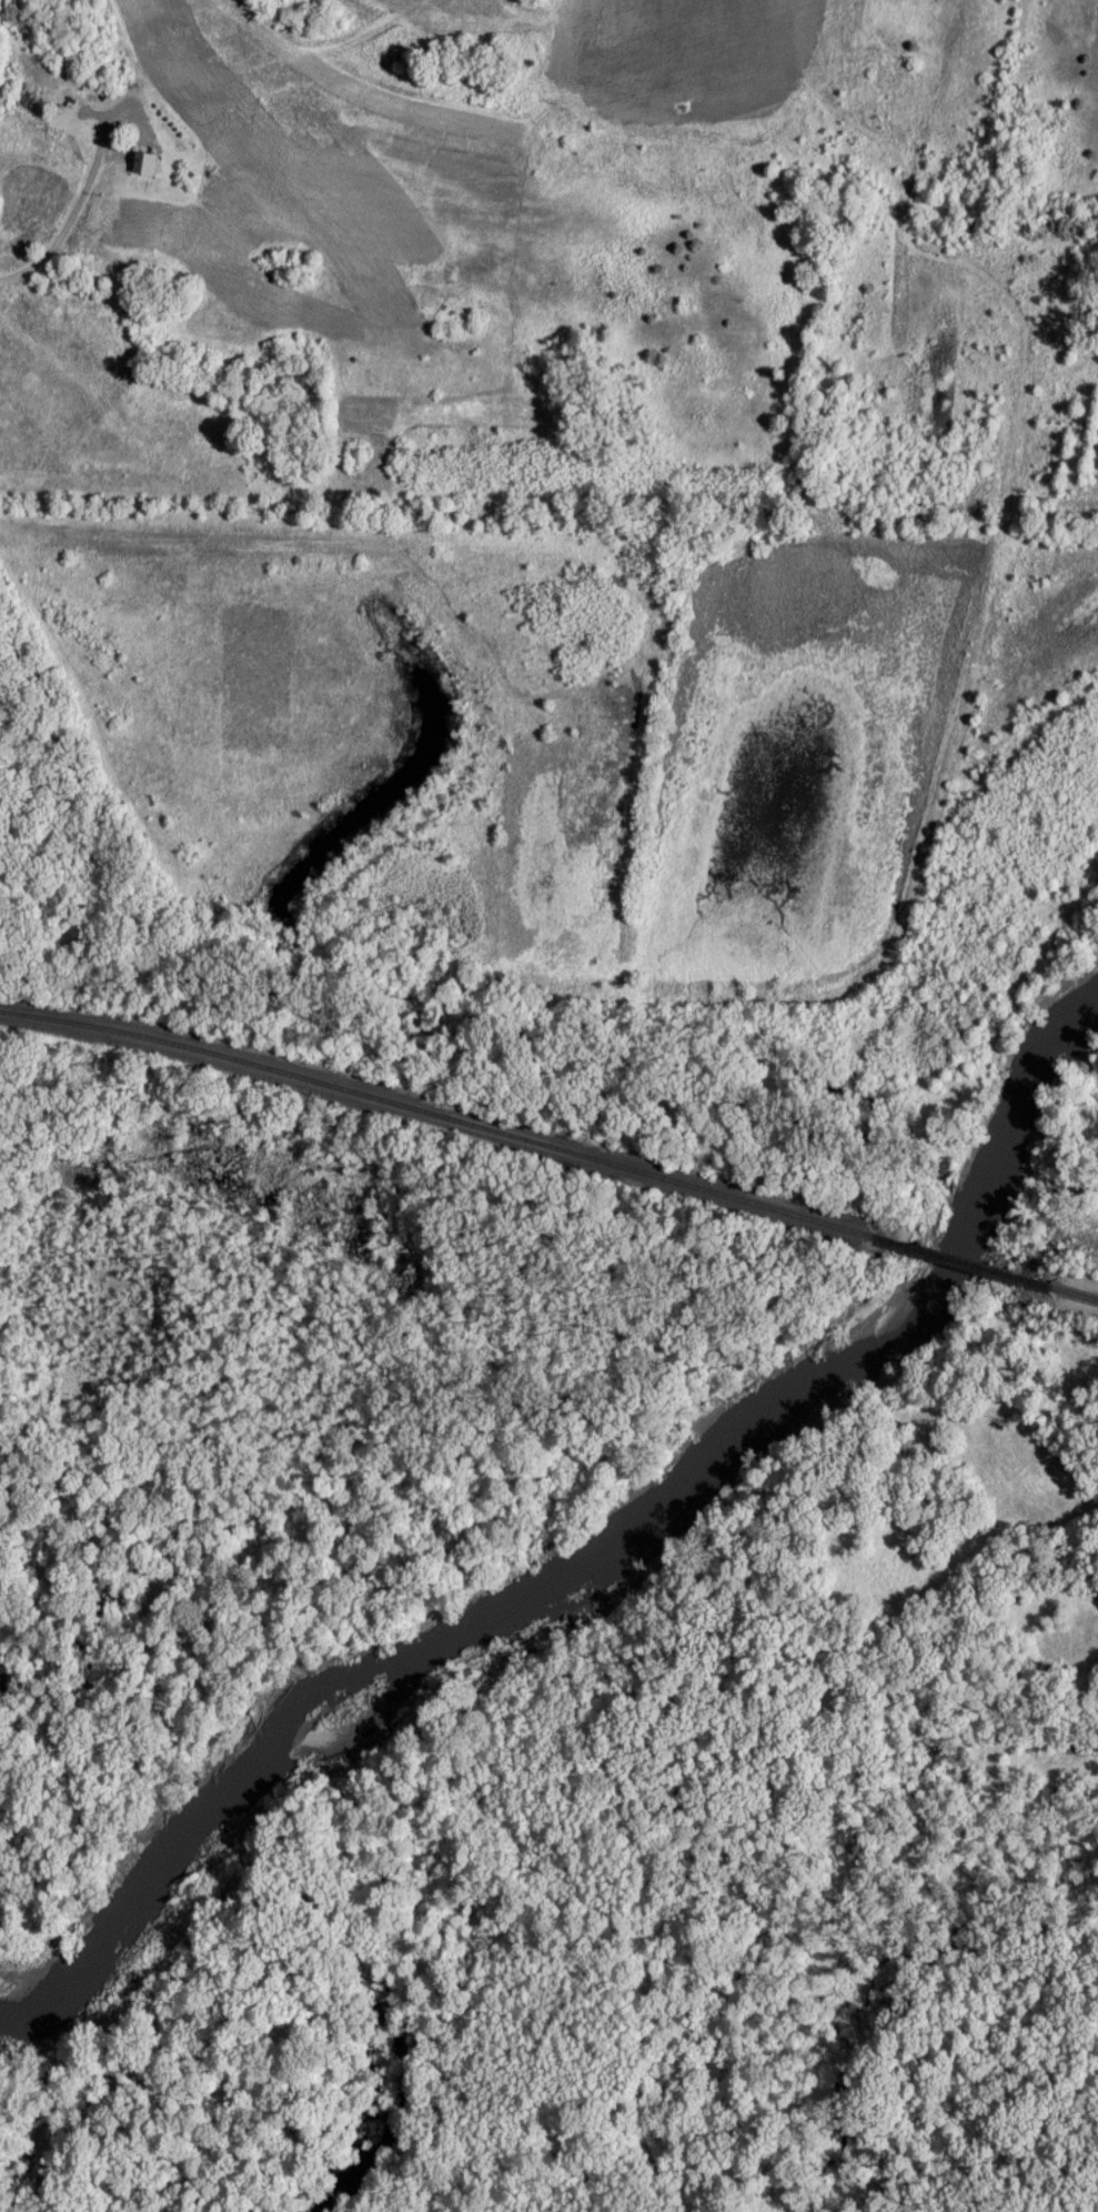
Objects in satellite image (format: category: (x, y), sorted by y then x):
building: (33, 102)
building: (144, 164)
road: (238, 174)
railway: (437, 1116)
railway: (969, 1265)
railway: (1082, 1297)
river: (604, 1539)

